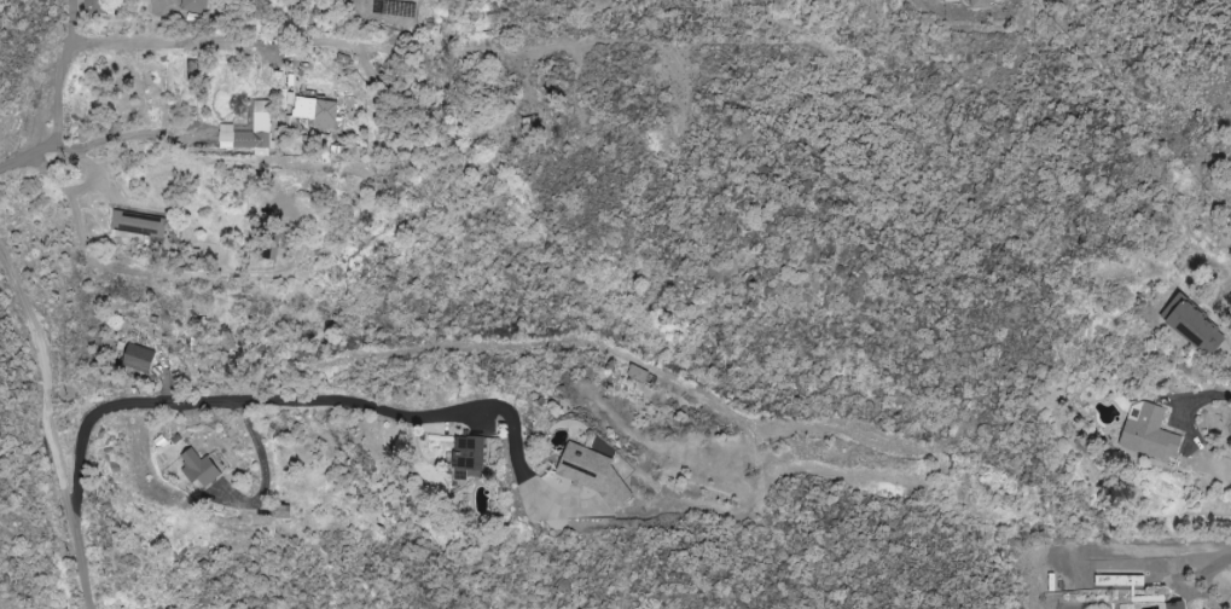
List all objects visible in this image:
building: (952, 0)
building: (983, 4)
building: (95, 6)
building: (196, 6)
road: (176, 42)
building: (193, 69)
road: (58, 101)
building: (319, 111)
building: (250, 130)
road: (140, 134)
building: (140, 224)
road: (128, 268)
road: (1227, 321)
building: (1196, 325)
building: (140, 358)
building: (639, 373)
road: (1200, 398)
road: (309, 400)
road: (48, 428)
building: (1151, 434)
building: (471, 457)
building: (202, 468)
building: (597, 475)
road: (1207, 572)
building: (1179, 605)

